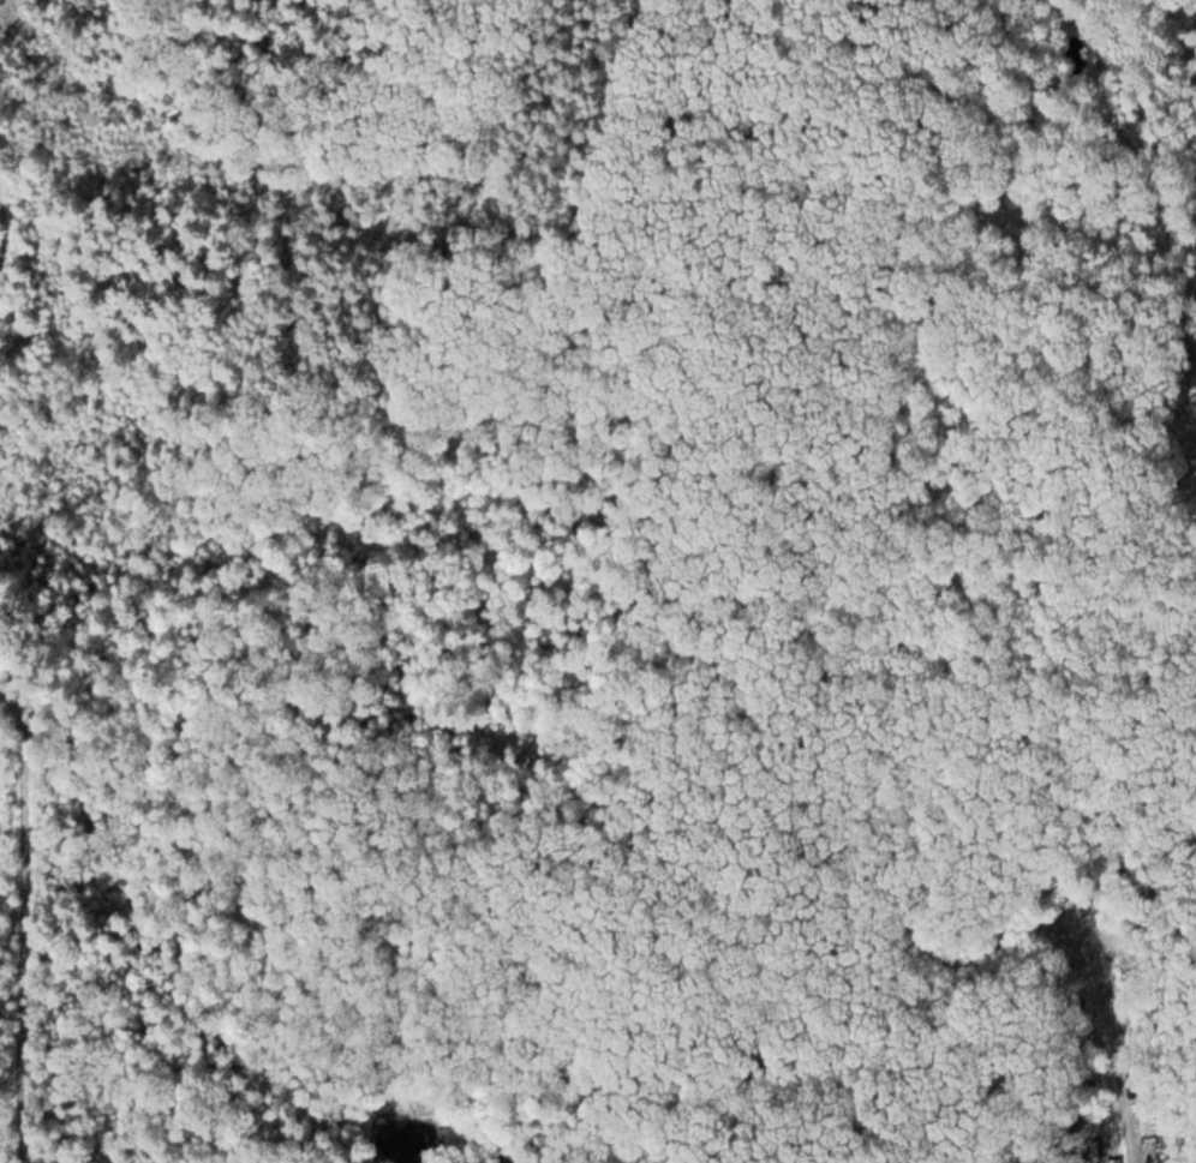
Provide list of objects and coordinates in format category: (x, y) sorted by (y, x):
road: (1112, 1038)

